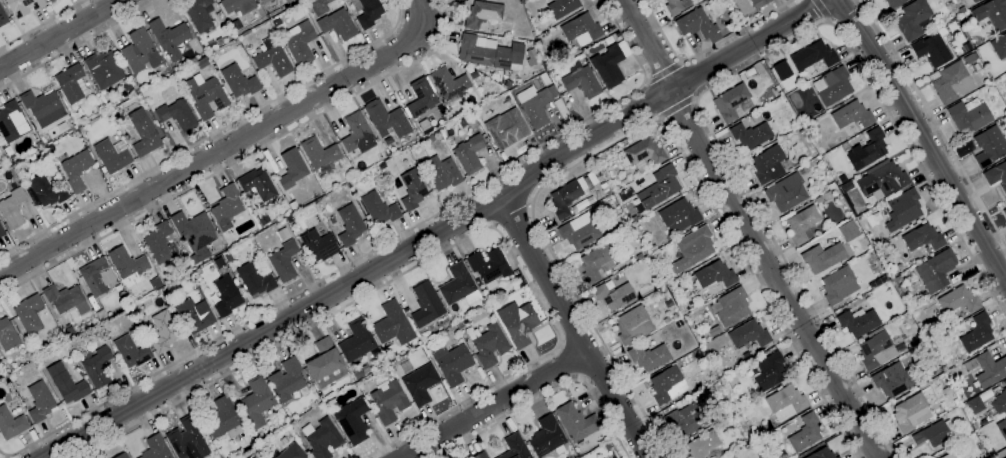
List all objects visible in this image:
building: (48, 0)
building: (50, 0)
building: (264, 1)
building: (288, 1)
building: (970, 1)
building: (759, 3)
building: (893, 3)
building: (23, 6)
building: (238, 6)
building: (676, 6)
building: (562, 7)
road: (821, 10)
building: (960, 10)
building: (367, 12)
building: (955, 14)
building: (990, 14)
building: (200, 15)
building: (483, 15)
building: (2, 16)
building: (913, 19)
road: (42, 23)
building: (337, 24)
building: (697, 24)
building: (581, 29)
building: (553, 32)
road: (65, 35)
building: (169, 37)
building: (220, 41)
building: (538, 42)
building: (300, 43)
road: (78, 44)
building: (212, 45)
building: (966, 46)
building: (999, 46)
building: (573, 48)
road: (706, 49)
building: (932, 50)
building: (140, 51)
building: (488, 52)
building: (531, 53)
building: (813, 55)
building: (970, 58)
building: (273, 60)
building: (203, 63)
building: (546, 65)
building: (608, 66)
building: (103, 69)
building: (782, 70)
building: (983, 73)
building: (473, 74)
road: (730, 76)
building: (544, 79)
building: (239, 81)
building: (581, 81)
building: (951, 83)
building: (72, 84)
building: (449, 84)
building: (507, 84)
building: (127, 86)
building: (832, 86)
building: (60, 95)
building: (206, 96)
building: (421, 97)
building: (730, 102)
building: (536, 104)
building: (45, 110)
building: (177, 115)
building: (852, 115)
building: (969, 115)
building: (1004, 118)
building: (386, 119)
building: (12, 122)
road: (934, 122)
building: (462, 123)
building: (812, 125)
building: (506, 128)
road: (637, 130)
building: (144, 133)
building: (357, 133)
road: (211, 135)
building: (751, 135)
road: (924, 138)
building: (39, 145)
building: (989, 146)
road: (225, 150)
building: (869, 150)
building: (644, 152)
building: (469, 153)
building: (112, 155)
building: (320, 156)
building: (381, 156)
road: (241, 158)
building: (3, 159)
building: (30, 159)
building: (786, 163)
building: (768, 164)
building: (291, 168)
building: (77, 170)
building: (441, 173)
building: (997, 175)
building: (22, 178)
building: (883, 180)
building: (258, 184)
building: (847, 185)
building: (618, 186)
building: (830, 186)
building: (413, 189)
building: (659, 189)
building: (47, 191)
building: (606, 191)
building: (786, 192)
building: (564, 198)
building: (818, 200)
building: (293, 206)
building: (226, 208)
building: (379, 208)
building: (12, 209)
building: (903, 209)
road: (512, 212)
building: (1004, 212)
building: (678, 215)
building: (290, 218)
building: (263, 219)
building: (331, 220)
building: (350, 225)
building: (802, 225)
building: (582, 228)
building: (194, 230)
road: (747, 230)
building: (849, 230)
building: (1, 232)
road: (437, 233)
building: (282, 234)
building: (922, 238)
building: (160, 243)
building: (318, 245)
building: (695, 245)
road: (443, 251)
road: (366, 254)
building: (199, 255)
building: (639, 256)
building: (823, 257)
building: (283, 261)
building: (596, 263)
building: (128, 266)
building: (489, 267)
building: (936, 270)
building: (195, 272)
building: (712, 275)
building: (97, 276)
building: (899, 279)
building: (953, 279)
building: (254, 280)
building: (878, 281)
building: (478, 282)
building: (838, 285)
building: (459, 286)
building: (658, 292)
building: (613, 295)
building: (666, 295)
building: (226, 296)
building: (65, 299)
building: (958, 300)
building: (426, 304)
building: (731, 307)
building: (101, 314)
building: (29, 315)
building: (195, 315)
building: (676, 315)
building: (655, 317)
building: (666, 320)
building: (858, 322)
building: (518, 323)
building: (393, 324)
building: (462, 324)
building: (679, 324)
building: (632, 325)
road: (569, 327)
building: (69, 329)
building: (164, 331)
building: (714, 331)
building: (977, 333)
building: (749, 334)
building: (7, 336)
building: (357, 341)
building: (488, 344)
building: (878, 350)
building: (131, 351)
building: (649, 357)
building: (40, 361)
road: (570, 361)
building: (451, 363)
building: (325, 364)
building: (97, 367)
building: (987, 369)
building: (771, 372)
building: (286, 379)
building: (893, 380)
building: (420, 383)
building: (67, 384)
building: (667, 385)
building: (716, 386)
building: (948, 390)
road: (546, 392)
building: (40, 401)
building: (369, 401)
building: (388, 401)
building: (786, 402)
building: (256, 403)
building: (728, 403)
building: (978, 403)
building: (1000, 403)
road: (491, 406)
building: (269, 412)
building: (911, 412)
building: (222, 419)
building: (352, 421)
building: (687, 421)
building: (576, 422)
building: (11, 424)
building: (752, 427)
building: (1002, 428)
building: (758, 433)
building: (805, 433)
building: (935, 433)
building: (546, 436)
building: (322, 438)
building: (188, 439)
building: (283, 440)
building: (303, 444)
building: (703, 444)
building: (607, 446)
building: (515, 447)
building: (155, 448)
building: (290, 452)
building: (821, 454)
building: (481, 455)
building: (949, 455)
building: (122, 456)
road: (5, 457)
road: (6, 457)
building: (620, 457)
building: (838, 457)
building: (1005, 457)

